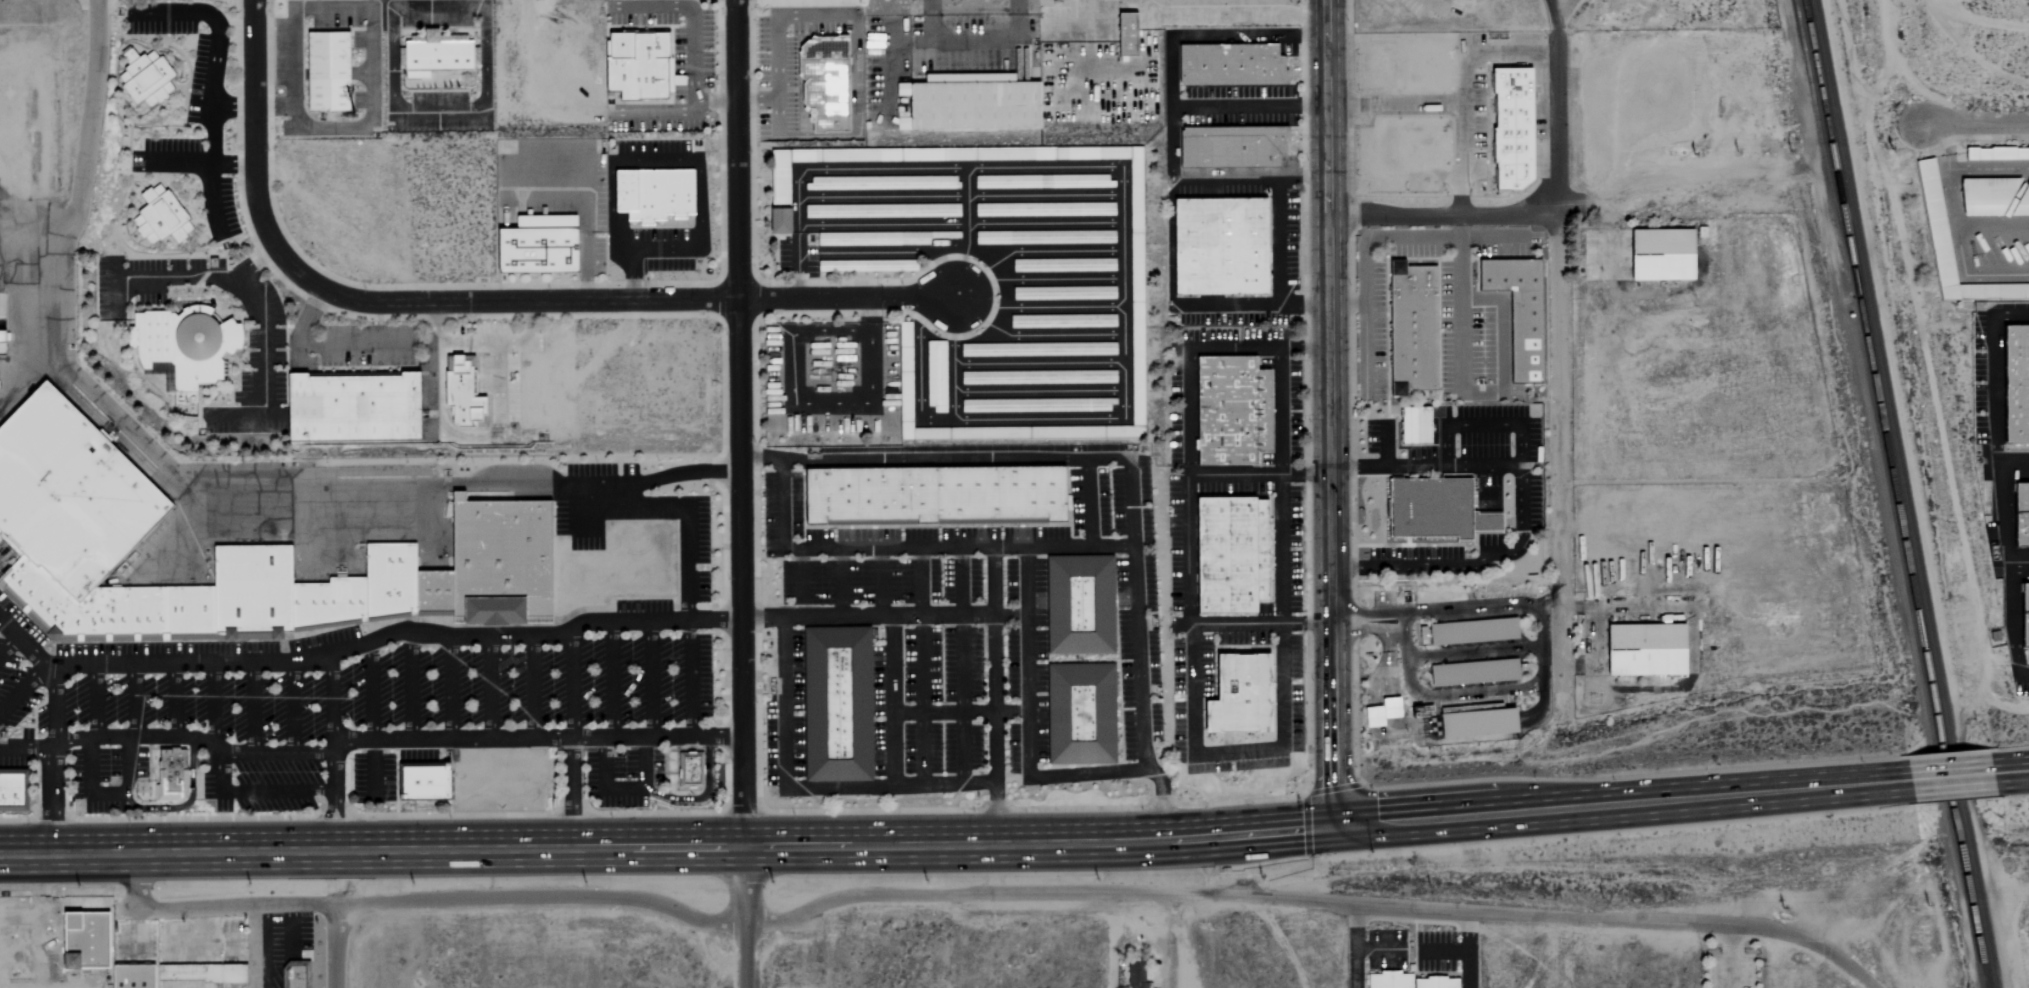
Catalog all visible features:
power tower: (1530, 4)
road: (1437, 5)
road: (650, 6)
road: (1108, 8)
road: (1229, 15)
road: (1326, 19)
road: (293, 33)
building: (1126, 36)
road: (972, 44)
road: (776, 48)
building: (435, 55)
building: (639, 65)
building: (1229, 67)
building: (328, 71)
road: (691, 71)
road: (1326, 72)
road: (214, 74)
road: (1085, 76)
building: (145, 77)
building: (824, 83)
road: (1453, 100)
building: (970, 102)
road: (1169, 105)
road: (1248, 106)
road: (233, 108)
road: (657, 110)
road: (1973, 121)
building: (1506, 128)
building: (1231, 146)
road: (1943, 146)
road: (559, 148)
railway: (1821, 148)
building: (1997, 152)
building: (1043, 181)
building: (882, 182)
building: (654, 193)
building: (1986, 194)
building: (2022, 202)
building: (1044, 208)
building: (881, 210)
road: (1953, 213)
building: (159, 216)
road: (1440, 219)
building: (1935, 222)
road: (1459, 228)
building: (1044, 236)
building: (883, 237)
road: (1490, 238)
building: (538, 244)
building: (1220, 245)
road: (641, 252)
building: (1656, 255)
road: (270, 259)
building: (1063, 264)
building: (867, 265)
road: (182, 278)
building: (1135, 278)
road: (1278, 290)
building: (1063, 292)
road: (479, 299)
road: (1557, 299)
road: (1303, 305)
road: (1460, 306)
building: (1519, 312)
building: (1062, 320)
road: (261, 325)
building: (1412, 328)
building: (182, 344)
road: (464, 344)
road: (337, 348)
building: (1037, 348)
road: (1363, 349)
road: (1916, 352)
road: (1992, 367)
building: (0, 370)
building: (936, 376)
building: (1038, 376)
building: (2016, 383)
building: (463, 392)
building: (1038, 404)
building: (353, 407)
building: (1232, 410)
road: (738, 423)
building: (1416, 424)
road: (2012, 458)
road: (902, 459)
road: (1327, 467)
road: (1257, 474)
road: (193, 484)
building: (74, 493)
railway: (1893, 494)
railway: (1903, 494)
building: (934, 496)
building: (1435, 509)
road: (627, 510)
road: (1521, 510)
building: (2021, 515)
building: (1, 533)
road: (1066, 545)
building: (1231, 554)
road: (688, 565)
road: (2019, 570)
road: (2010, 574)
road: (994, 579)
road: (918, 580)
road: (841, 582)
road: (881, 582)
building: (322, 587)
building: (1079, 605)
road: (1443, 609)
road: (983, 613)
road: (1011, 615)
building: (2025, 615)
road: (1259, 625)
road: (1358, 630)
building: (1473, 632)
road: (394, 633)
building: (1422, 635)
road: (1562, 640)
road: (8, 643)
road: (27, 646)
building: (1646, 650)
parking lot: (18, 667)
road: (1542, 667)
building: (1474, 672)
road: (688, 678)
road: (648, 679)
road: (610, 680)
road: (568, 683)
road: (22, 687)
road: (410, 687)
road: (530, 688)
road: (448, 689)
road: (488, 689)
parking lot: (372, 690)
road: (370, 692)
building: (1240, 694)
road: (171, 700)
road: (330, 700)
building: (837, 703)
road: (213, 704)
road: (253, 708)
road: (291, 708)
road: (1392, 708)
road: (1011, 711)
building: (1081, 713)
building: (1378, 713)
road: (1028, 722)
building: (1477, 723)
road: (1192, 724)
road: (194, 739)
road: (508, 740)
road: (26, 747)
road: (50, 763)
road: (642, 764)
road: (372, 768)
building: (688, 770)
road: (2010, 772)
building: (171, 775)
road: (1950, 777)
building: (423, 778)
road: (601, 783)
road: (809, 787)
building: (13, 788)
road: (253, 791)
road: (106, 794)
road: (571, 794)
road: (702, 796)
road: (183, 805)
road: (1620, 805)
road: (338, 812)
road: (327, 814)
traffic signals: (1331, 829)
road: (336, 836)
road: (665, 847)
road: (1107, 894)
road: (210, 909)
road: (744, 917)
road: (2007, 934)
road: (1166, 941)
building: (54, 946)
road: (333, 946)
road: (1730, 956)
building: (208, 973)
building: (1135, 975)
building: (297, 977)
building: (125, 979)
building: (1405, 981)

